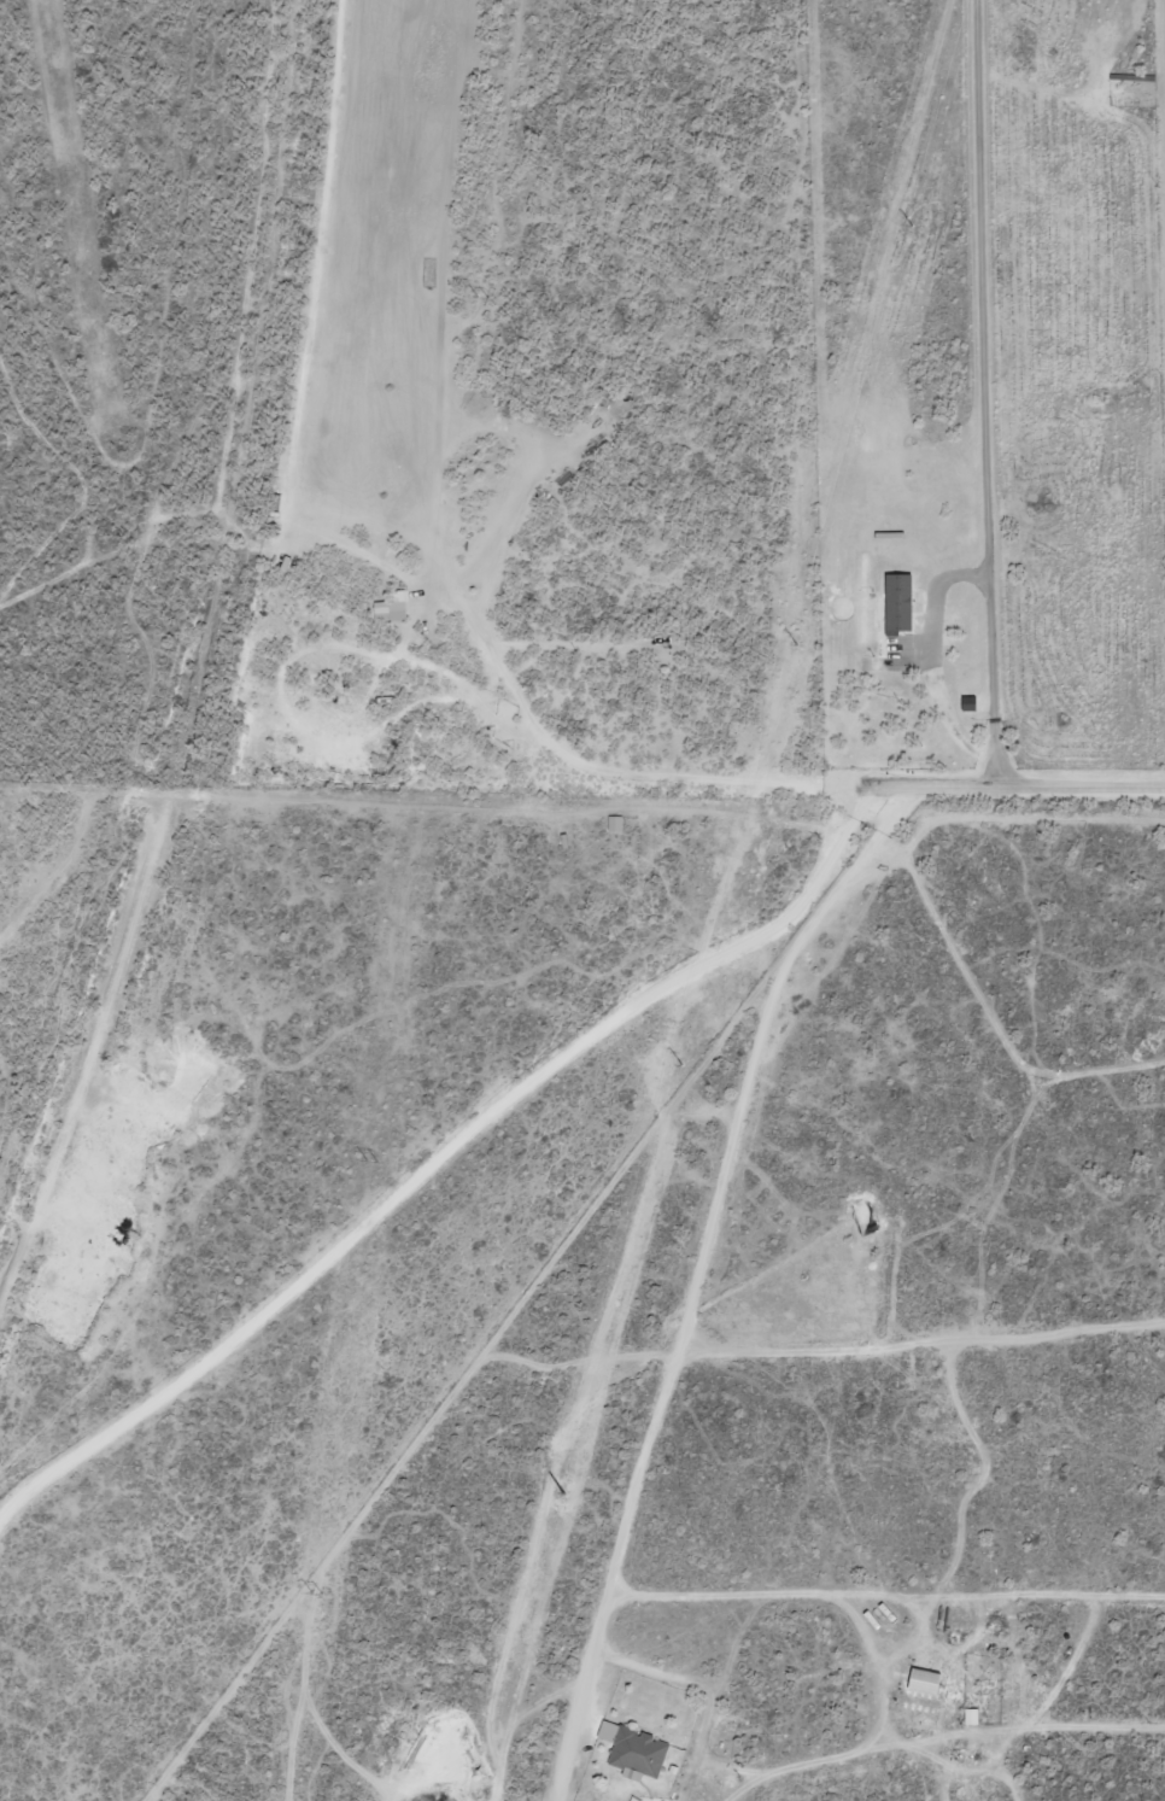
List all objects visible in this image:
power tower: (906, 221)
road: (242, 297)
power tower: (488, 297)
road: (983, 393)
road: (69, 569)
building: (898, 602)
building: (387, 610)
power tower: (792, 641)
building: (966, 703)
railway: (229, 707)
power tower: (431, 724)
road: (172, 745)
road: (1013, 787)
road: (246, 795)
building: (613, 824)
power tower: (679, 1060)
road: (444, 1150)
power tower: (368, 1160)
road: (691, 1276)
power tower: (566, 1480)
power tower: (310, 1592)
road: (885, 1596)
building: (921, 1680)
building: (968, 1715)
building: (632, 1750)

